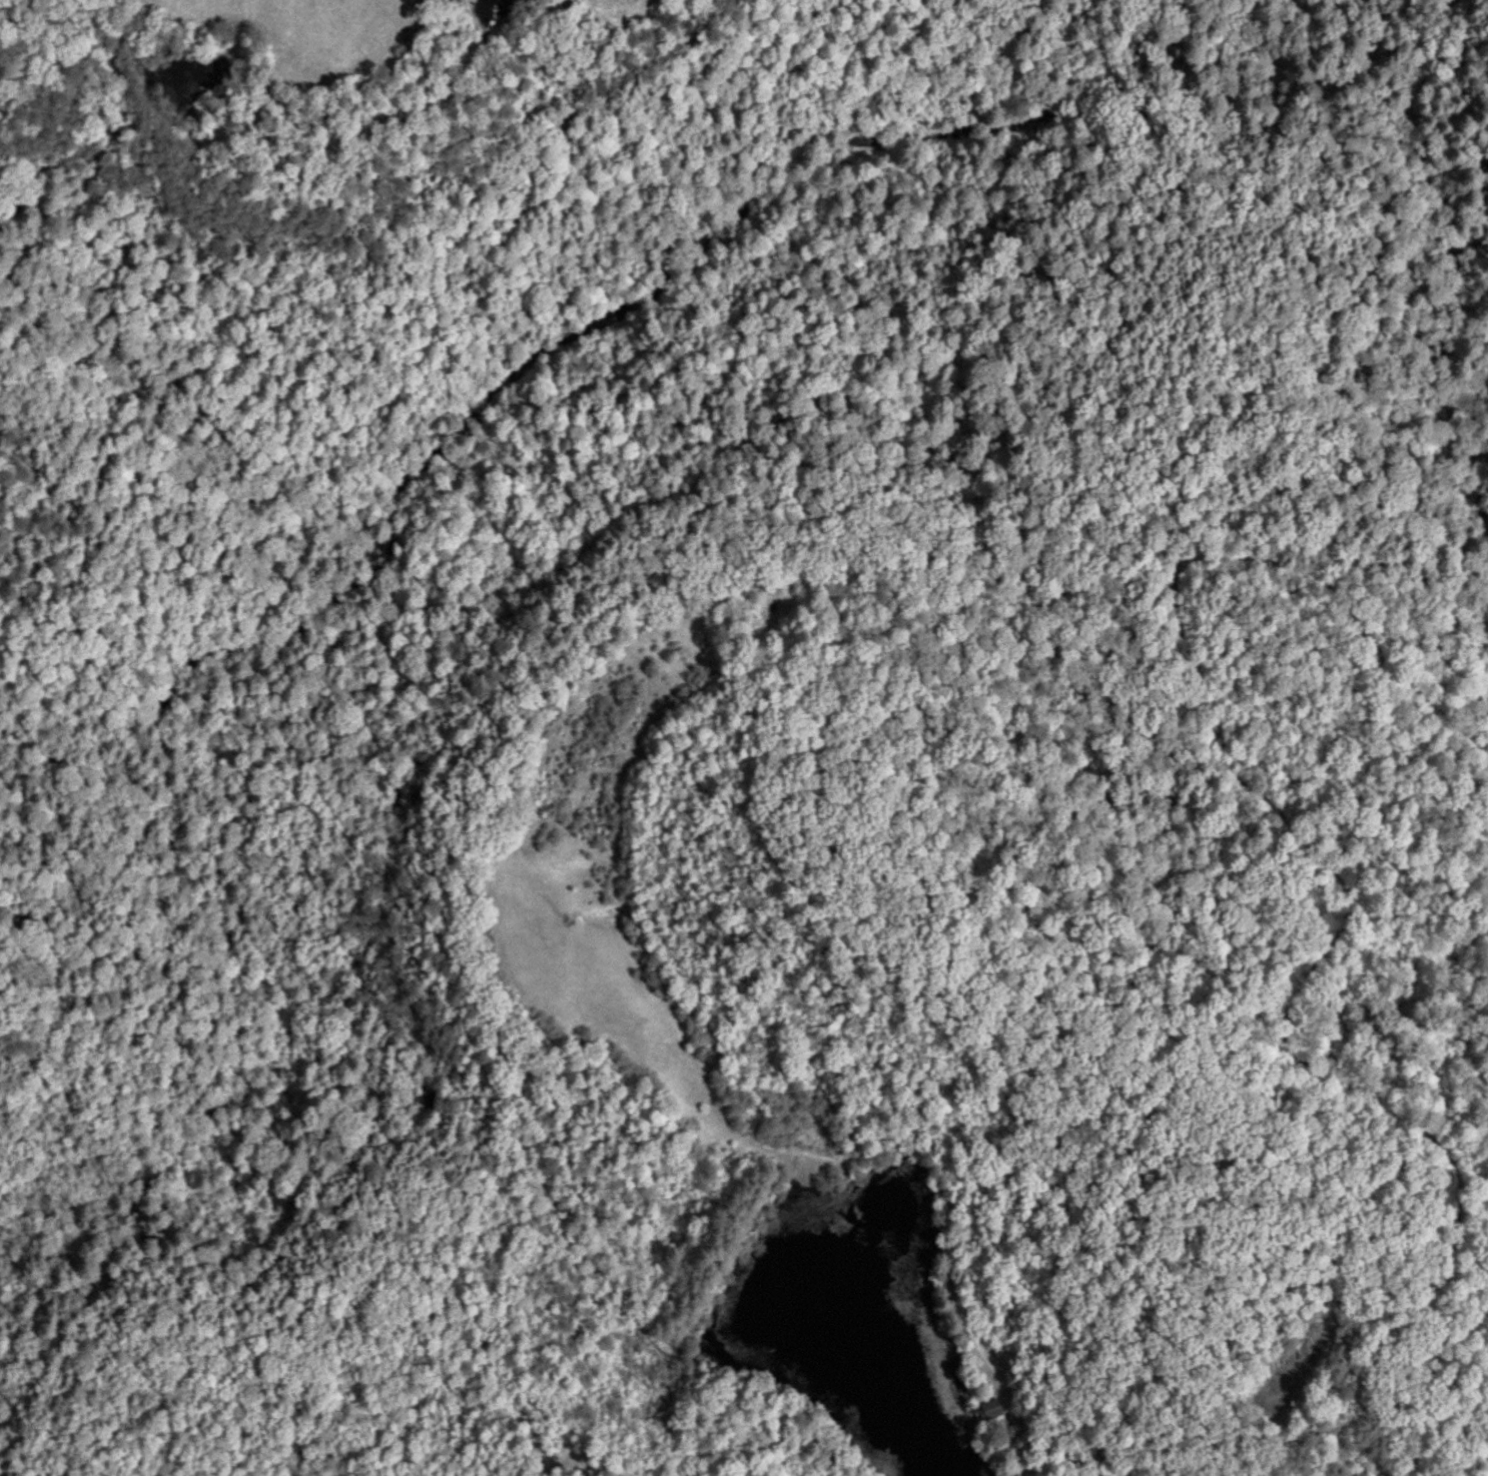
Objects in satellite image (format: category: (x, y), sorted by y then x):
river: (509, 419)

